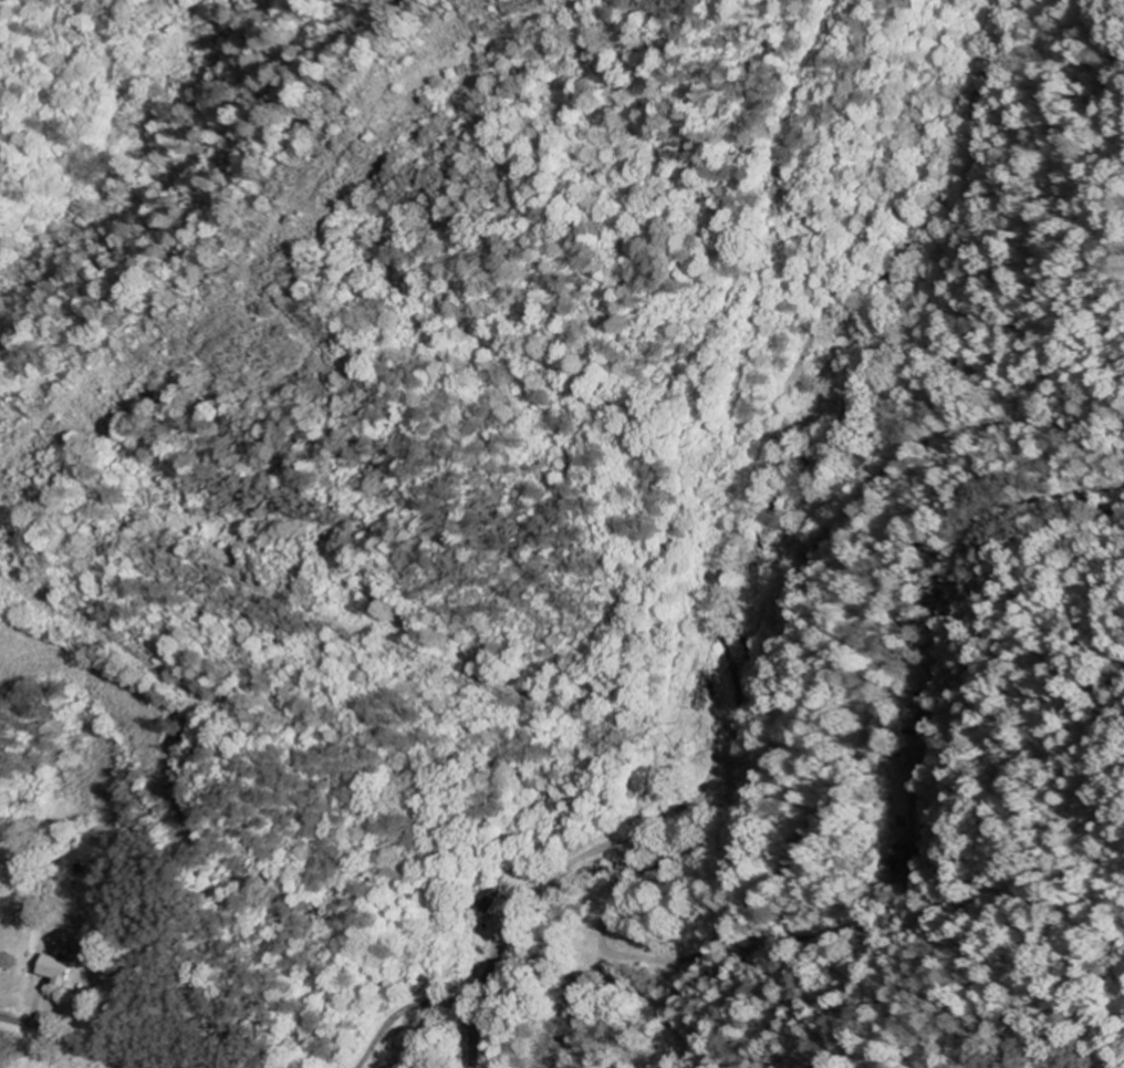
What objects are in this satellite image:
road: (802, 351)
road: (670, 813)
building: (52, 970)
road: (402, 1010)
road: (66, 1041)

